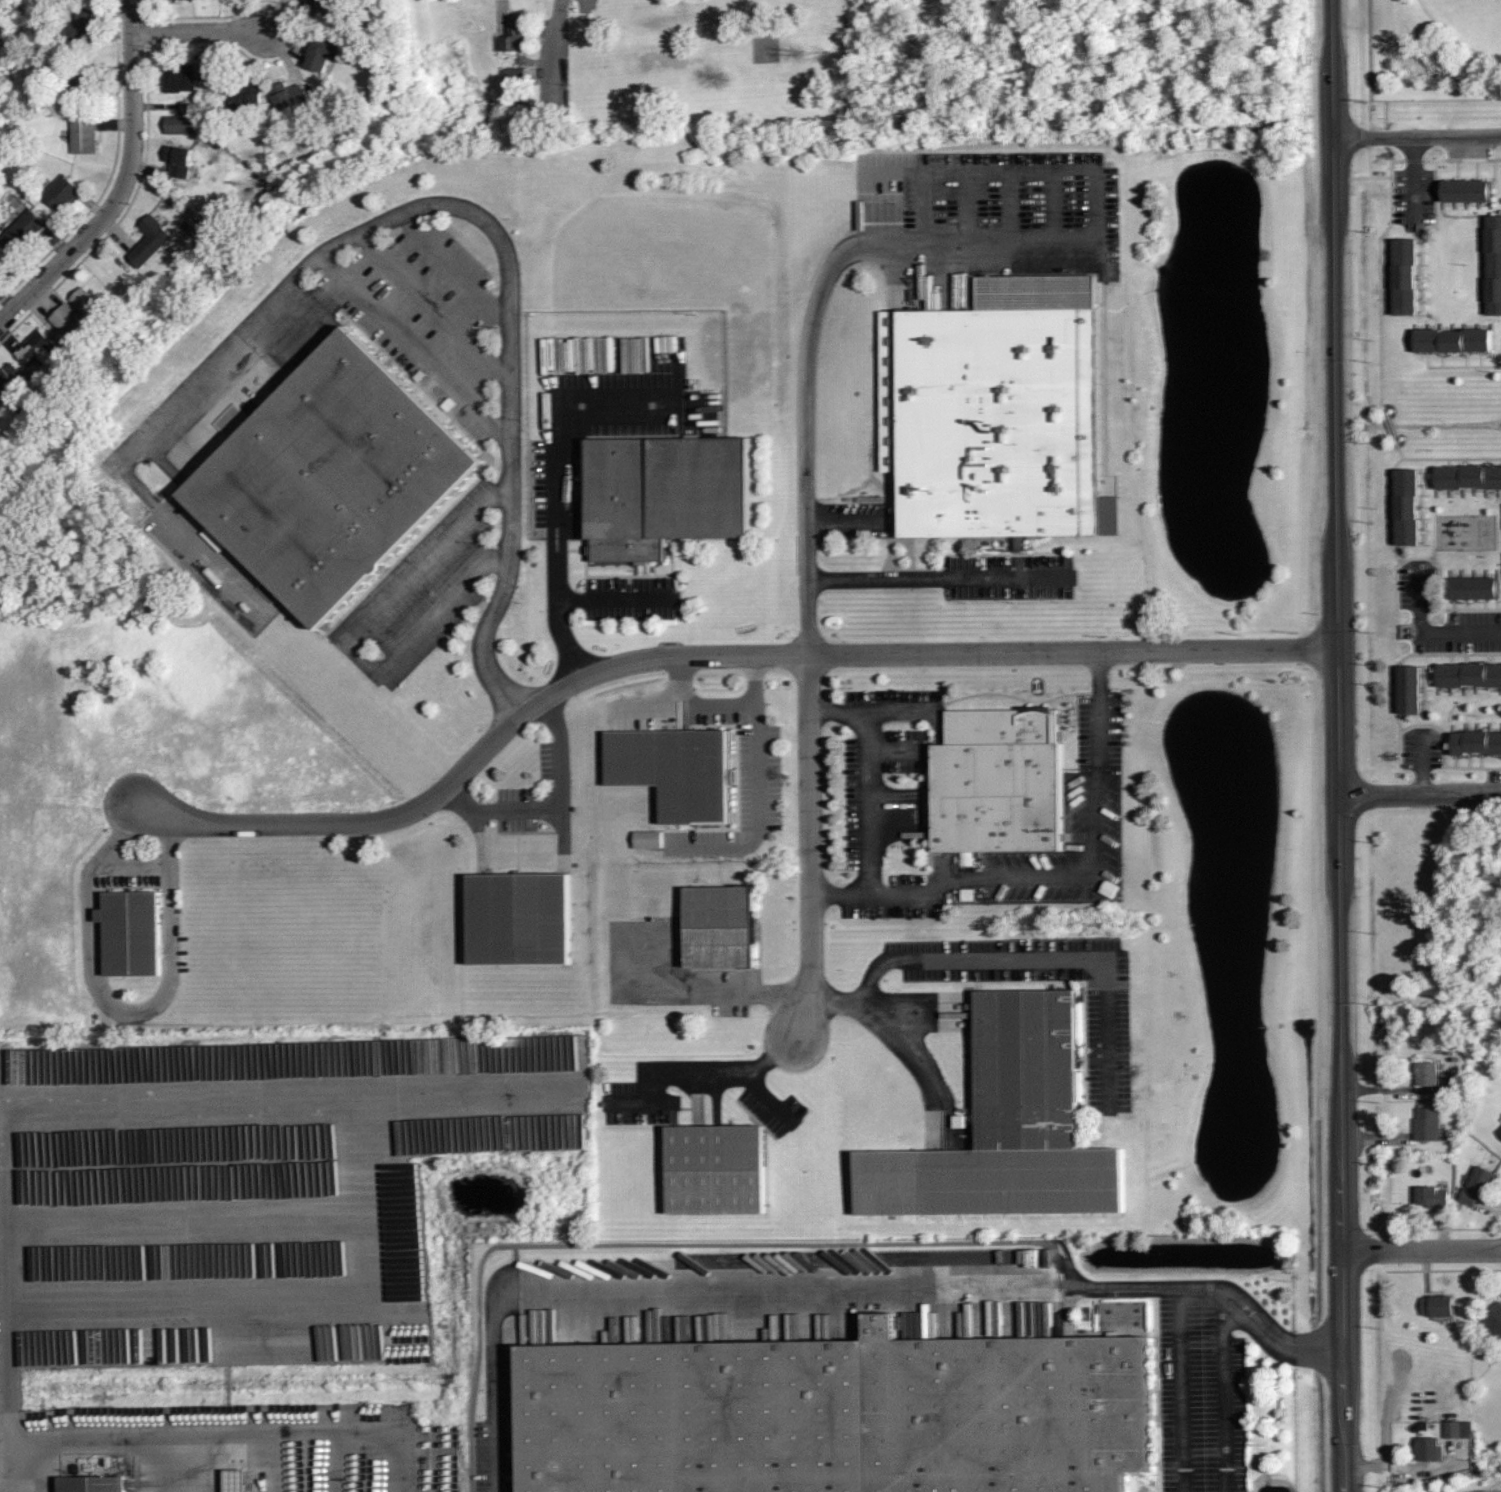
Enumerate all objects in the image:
road: (588, 4)
building: (327, 7)
building: (83, 27)
road: (202, 32)
building: (514, 33)
building: (323, 52)
building: (512, 76)
building: (180, 77)
building: (81, 83)
building: (287, 94)
building: (247, 97)
building: (182, 119)
building: (83, 134)
road: (1417, 137)
building: (178, 160)
road: (1415, 181)
road: (122, 184)
building: (1467, 190)
building: (61, 191)
building: (23, 230)
road: (502, 239)
building: (149, 240)
road: (915, 244)
building: (1496, 262)
road: (455, 264)
building: (1408, 274)
road: (434, 307)
building: (76, 313)
road: (1335, 324)
building: (1456, 337)
road: (414, 347)
building: (38, 348)
building: (10, 378)
building: (995, 418)
building: (335, 475)
building: (1470, 475)
building: (668, 491)
building: (1407, 506)
road: (557, 516)
building: (216, 539)
road: (915, 580)
building: (1474, 587)
road: (617, 599)
road: (1433, 633)
road: (347, 645)
road: (1074, 652)
building: (1471, 672)
building: (1410, 689)
road: (724, 702)
road: (871, 712)
building: (1477, 742)
road: (475, 757)
road: (1421, 763)
building: (679, 768)
building: (1001, 780)
road: (1420, 793)
road: (554, 810)
road: (762, 814)
road: (868, 831)
building: (650, 840)
road: (810, 847)
road: (133, 865)
road: (1091, 875)
building: (523, 917)
building: (723, 925)
building: (133, 933)
road: (1018, 959)
road: (718, 990)
road: (119, 1005)
road: (907, 1047)
road: (1343, 1070)
road: (729, 1072)
building: (1428, 1073)
building: (1451, 1089)
road: (267, 1092)
building: (1427, 1123)
building: (1011, 1126)
building: (1499, 1131)
building: (720, 1168)
building: (1482, 1179)
building: (1433, 1196)
building: (1471, 1197)
road: (1423, 1249)
road: (836, 1288)
building: (1438, 1305)
building: (1493, 1319)
road: (1183, 1391)
road: (1225, 1396)
building: (830, 1414)
building: (1459, 1429)
road: (112, 1447)
building: (1430, 1449)
building: (95, 1485)
road: (0, 1488)

